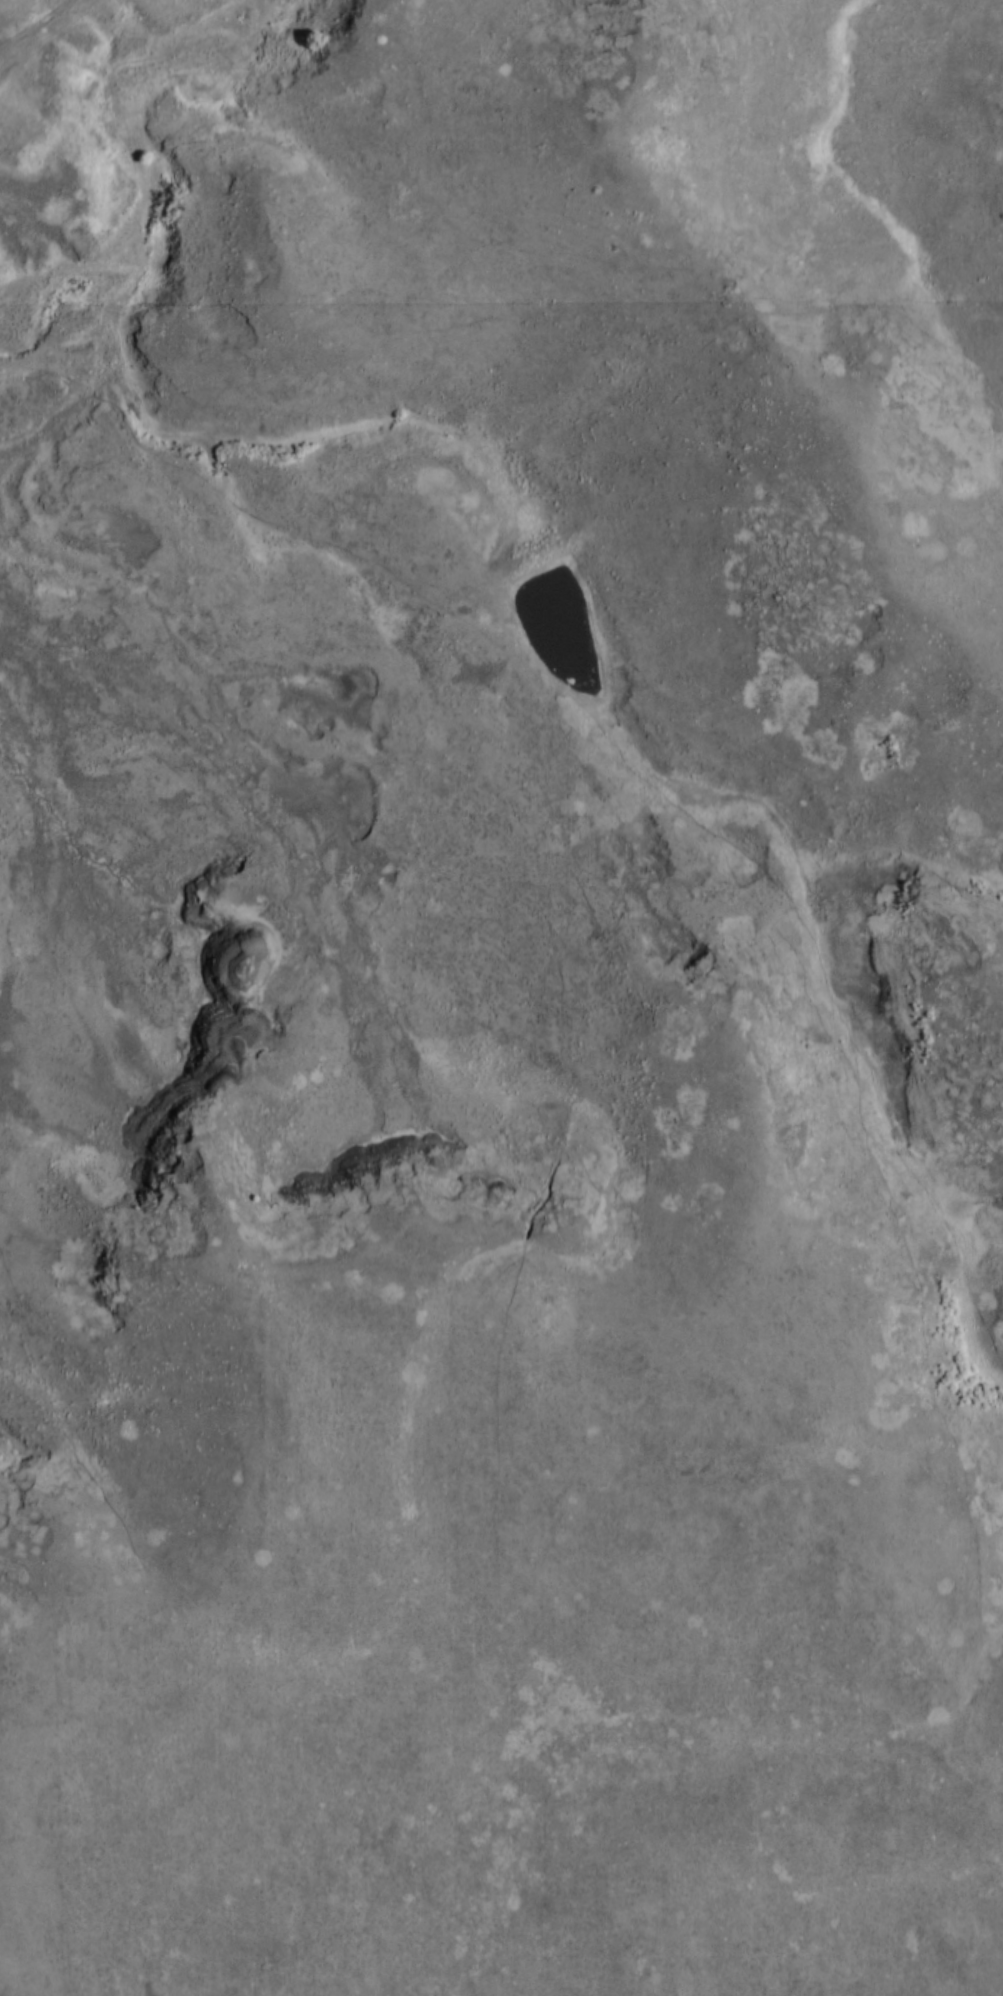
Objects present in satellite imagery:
road: (34, 29)

